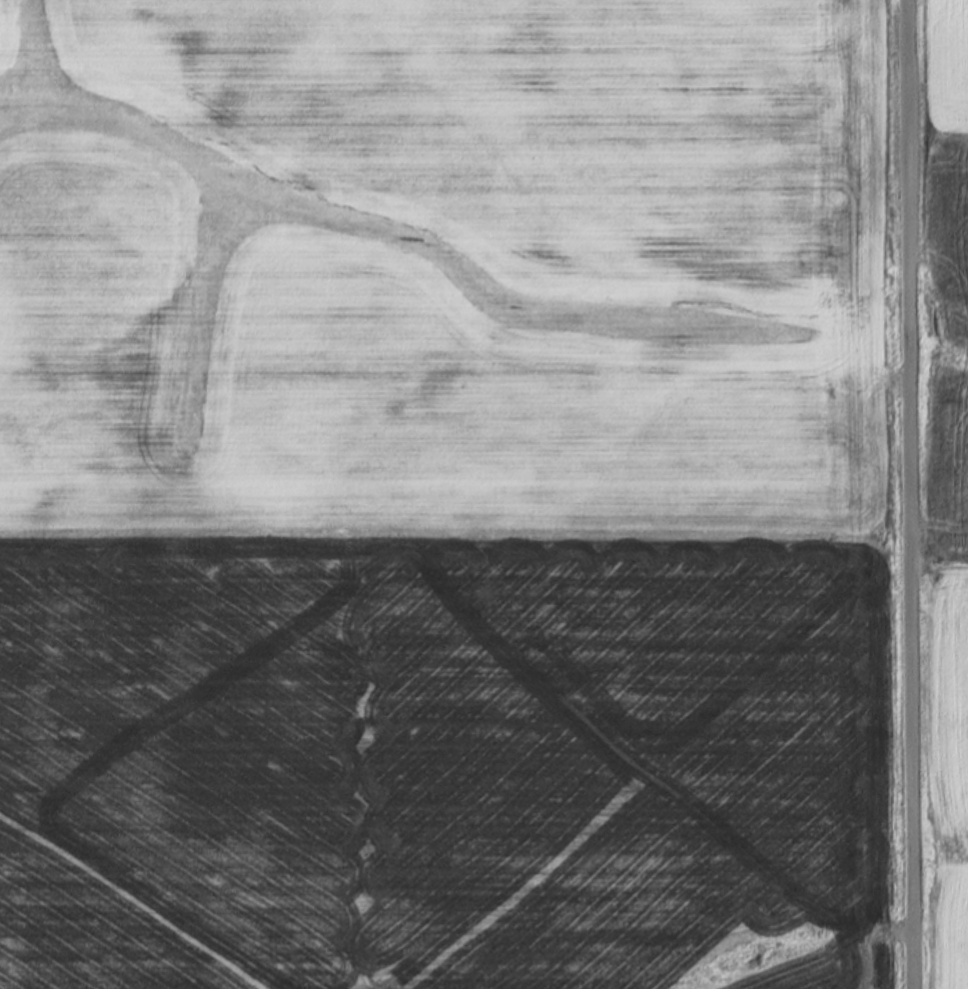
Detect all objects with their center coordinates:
road: (911, 494)

